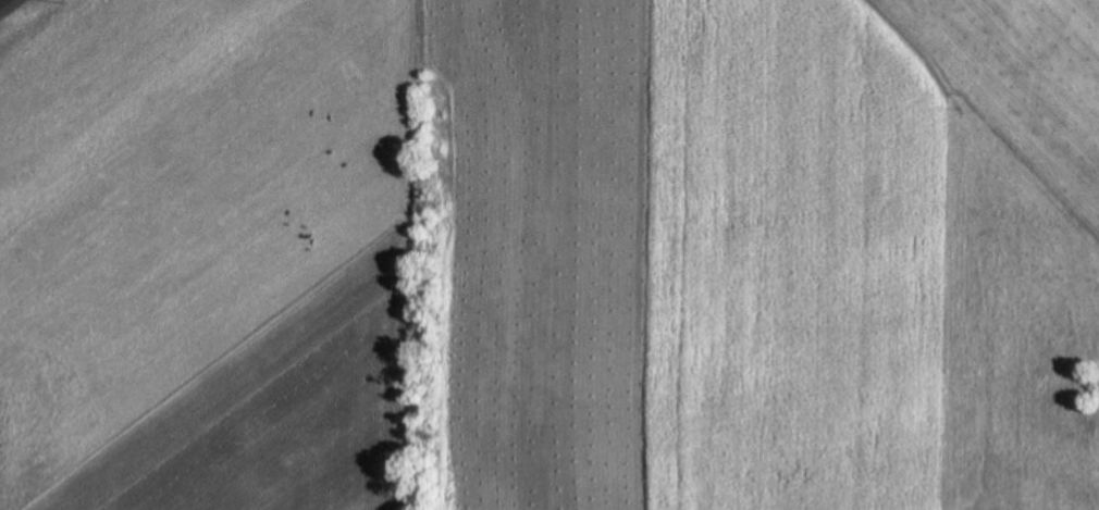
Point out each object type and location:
railway: (1, 0)
road: (398, 253)

